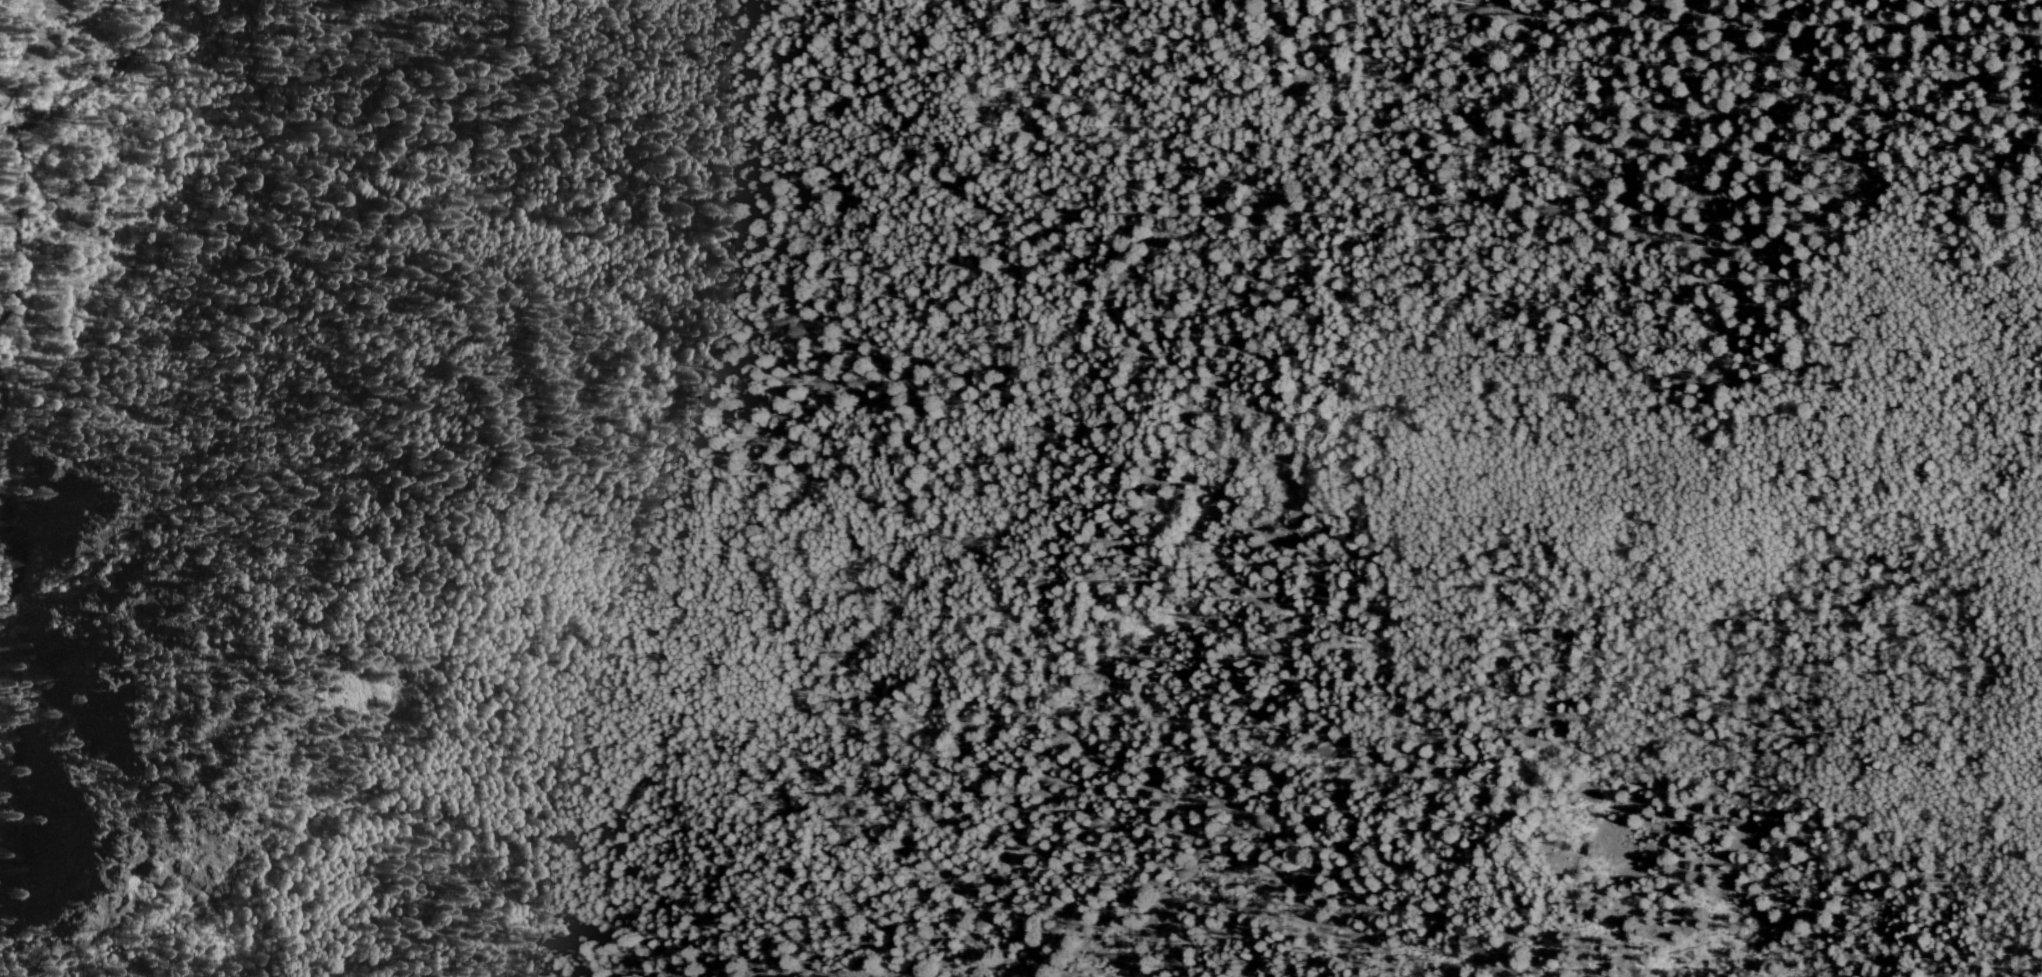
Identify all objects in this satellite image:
road: (33, 67)
river: (55, 458)
road: (23, 574)

